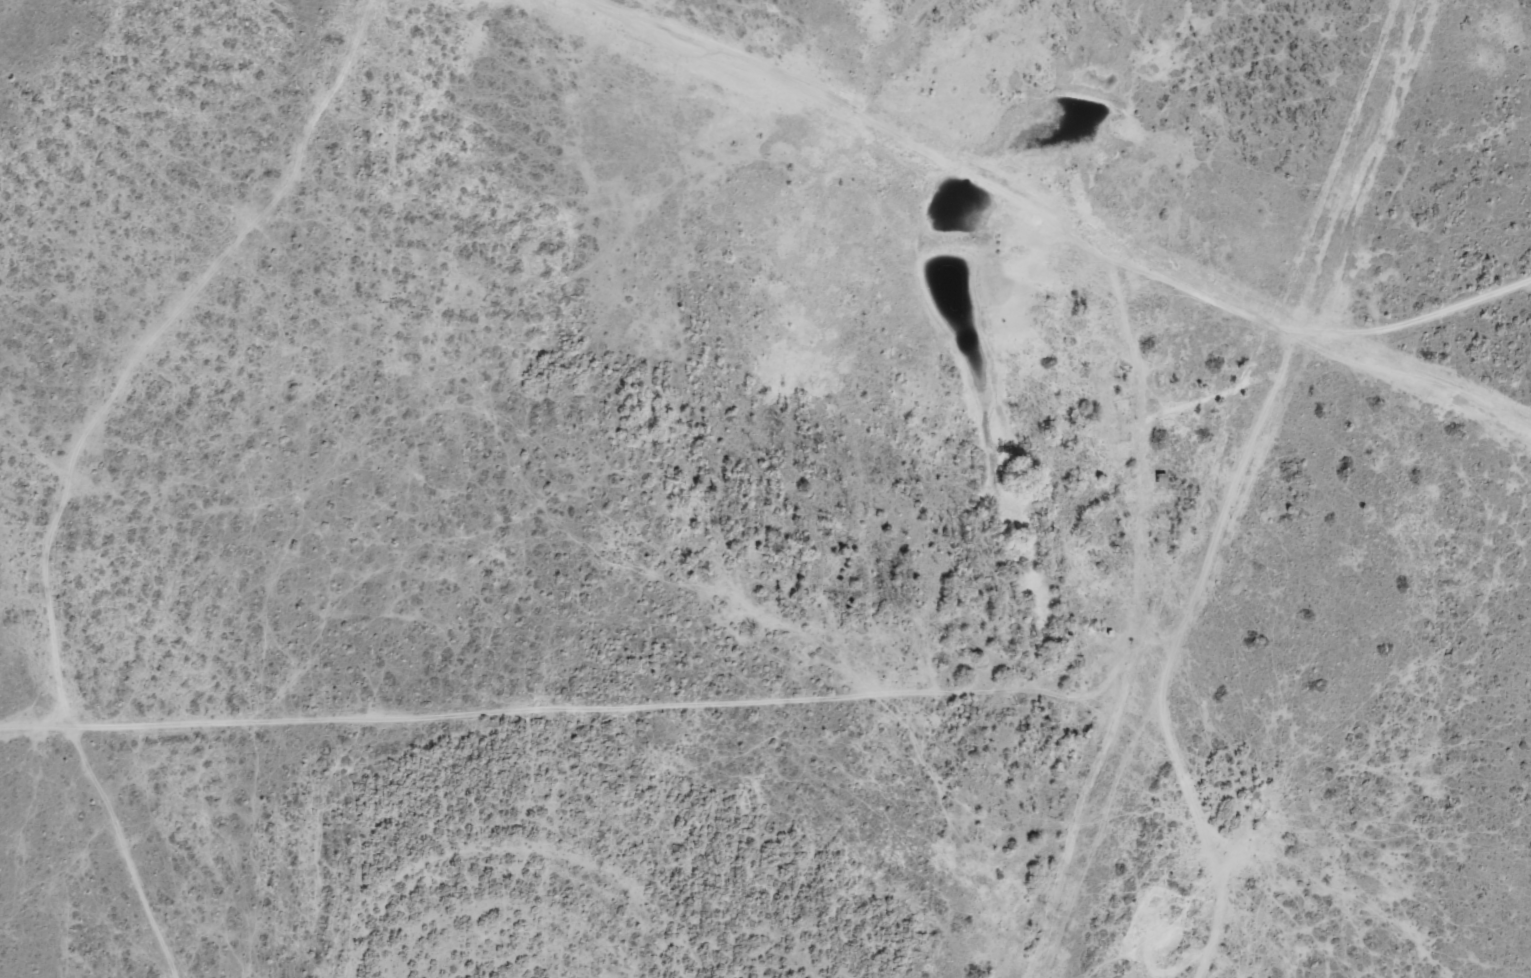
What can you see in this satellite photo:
road: (1216, 276)

